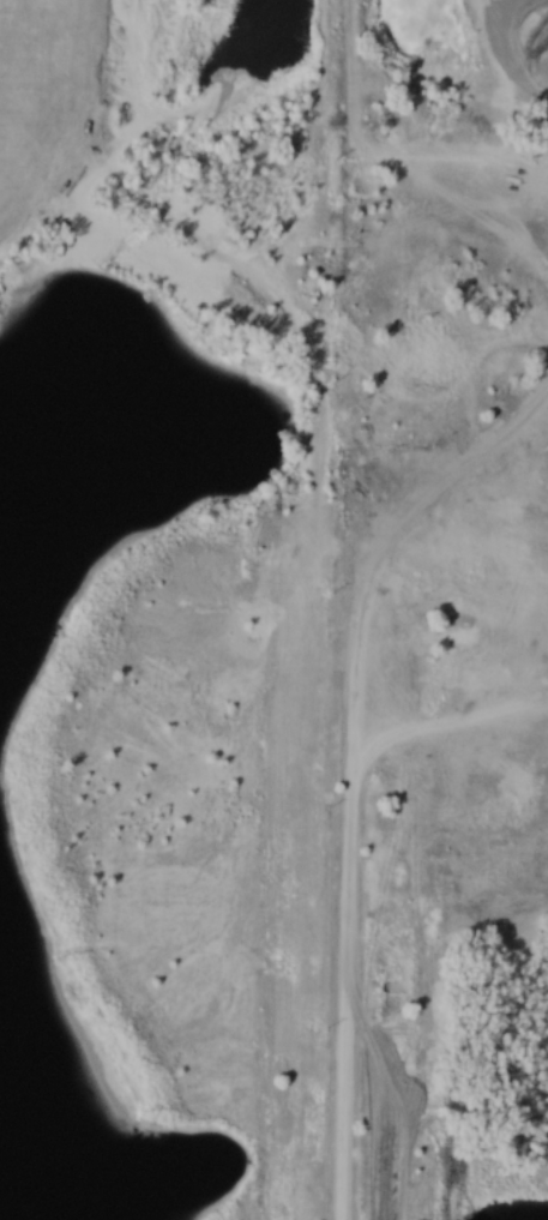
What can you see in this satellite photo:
road: (349, 609)
building: (442, 637)

